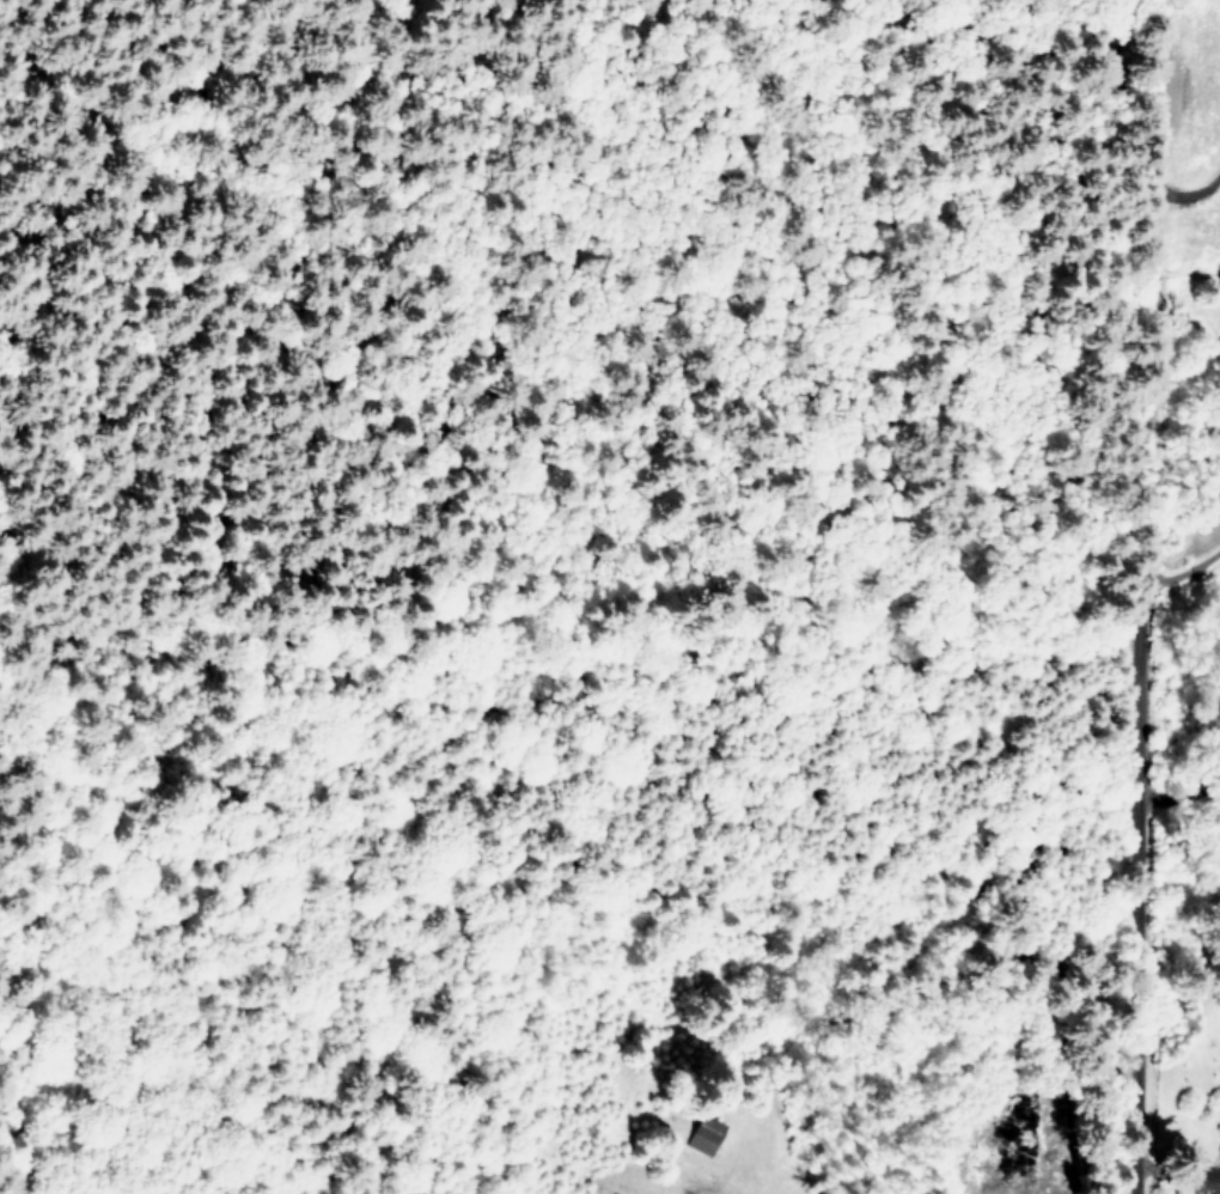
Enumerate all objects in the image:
road: (1188, 193)
road: (1140, 597)
building: (702, 1134)

